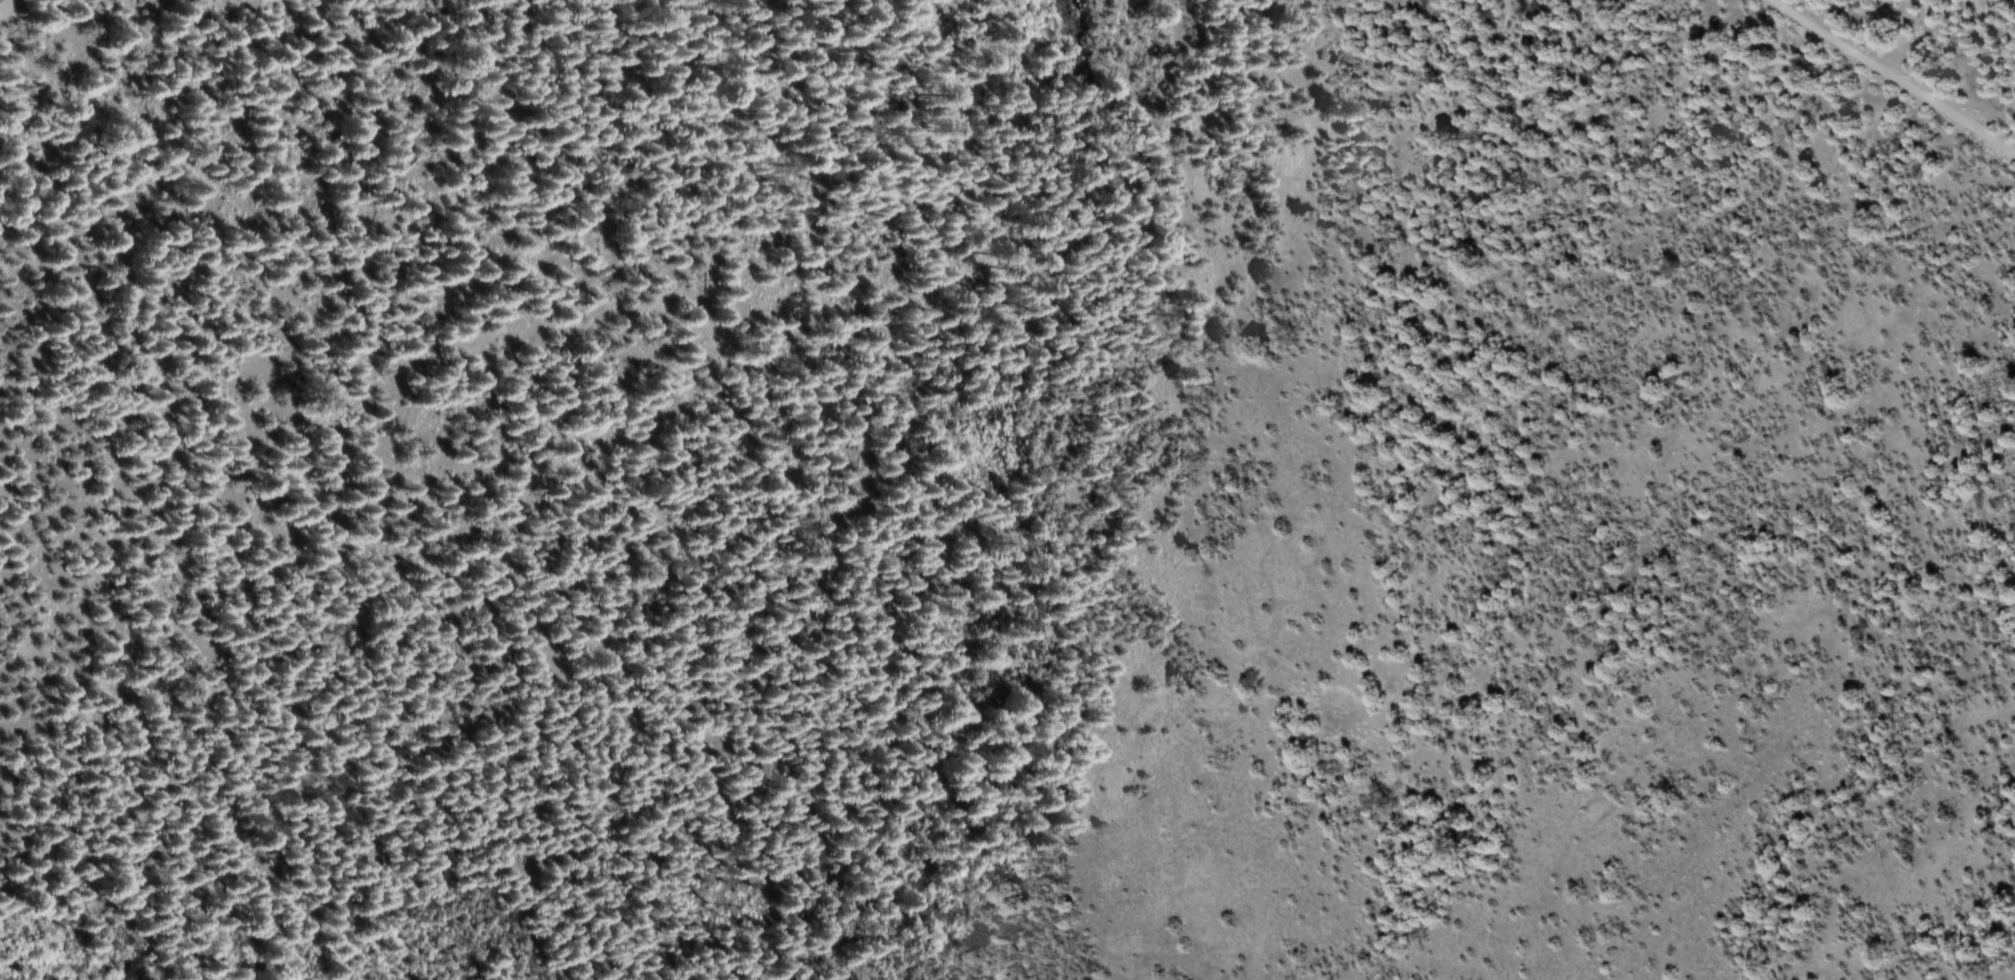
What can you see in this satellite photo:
road: (1895, 78)

